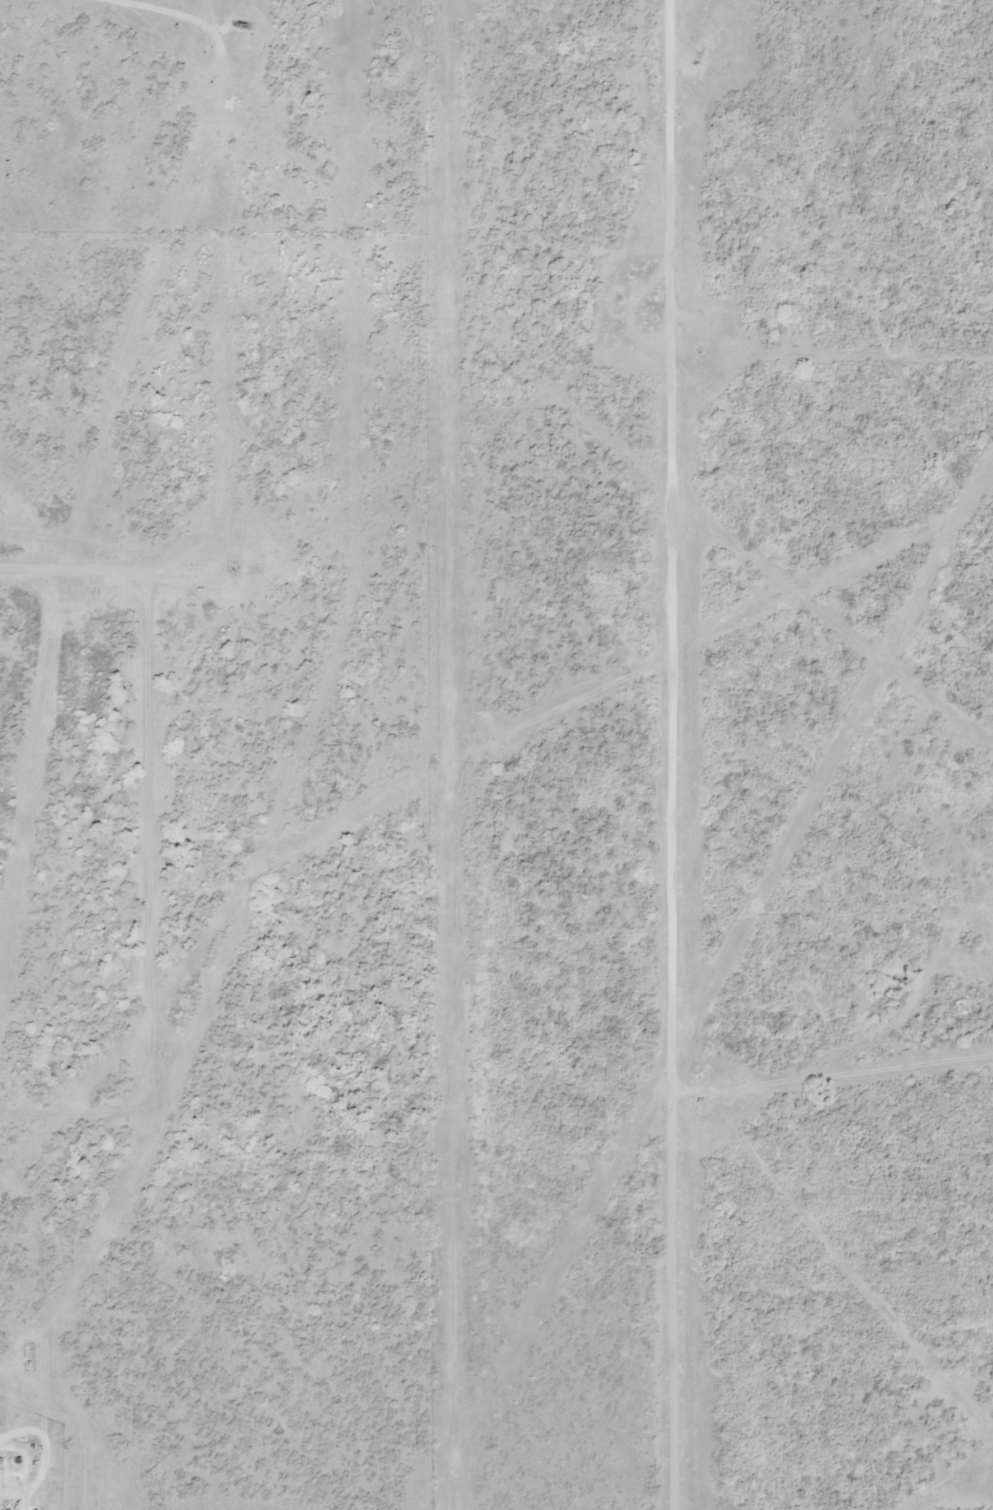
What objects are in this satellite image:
road: (671, 755)
road: (140, 852)
road: (21, 1327)

